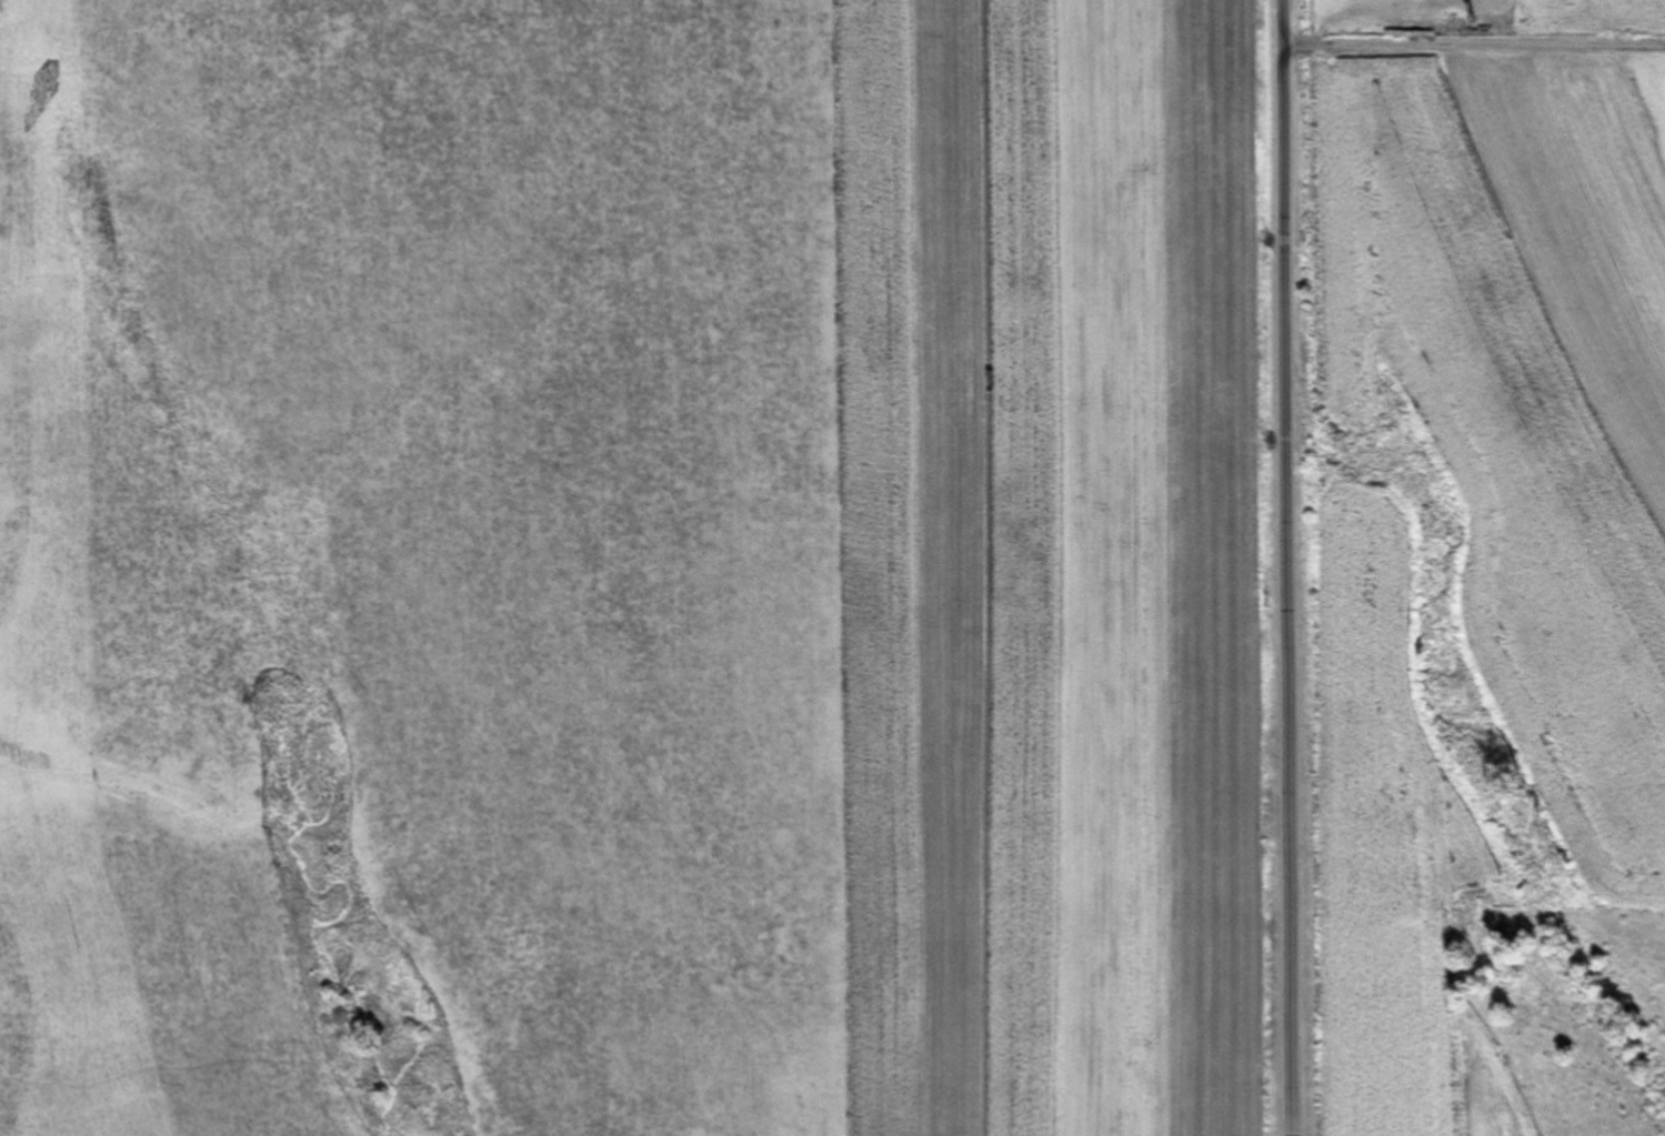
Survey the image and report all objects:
road: (1298, 567)

